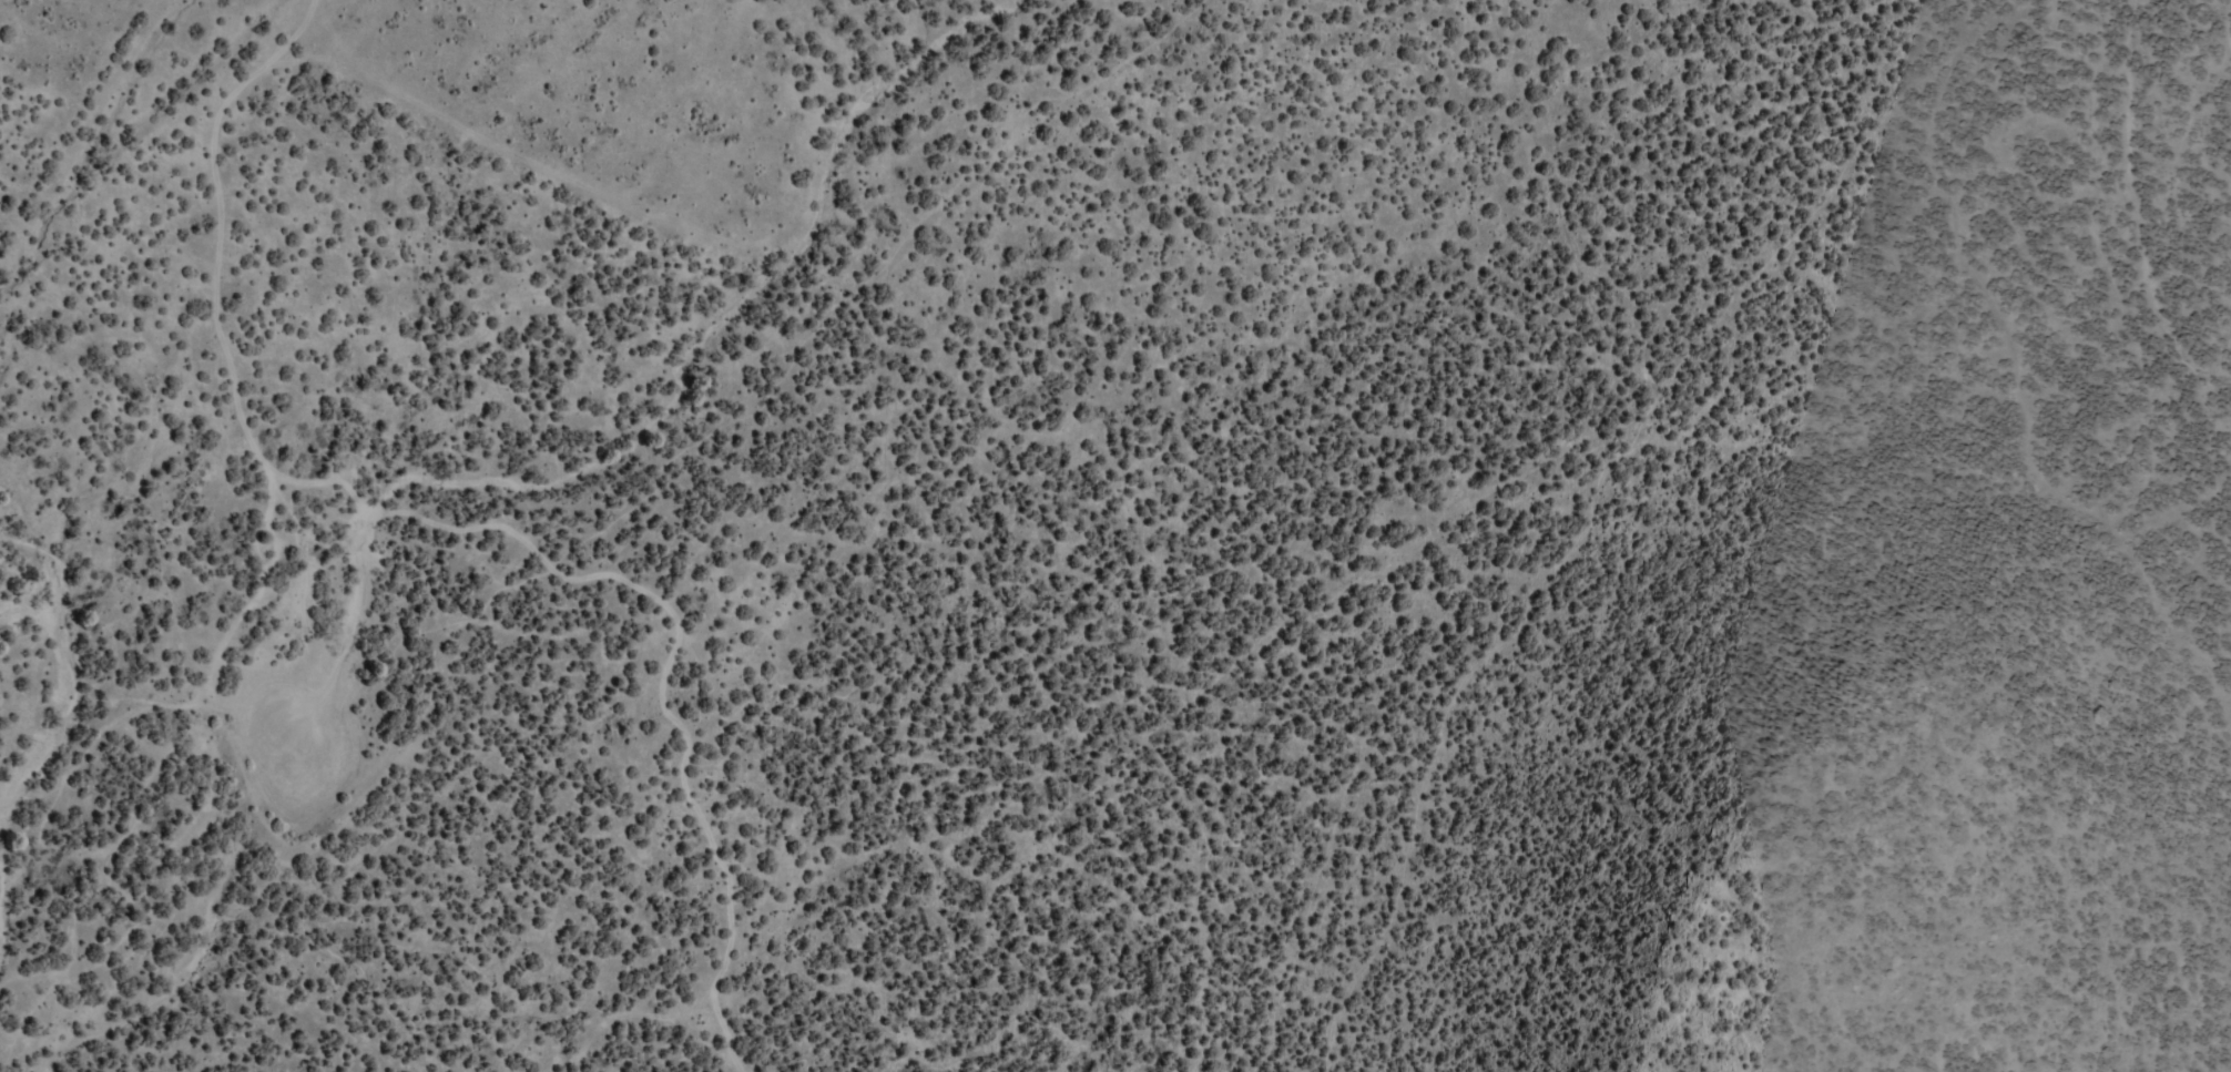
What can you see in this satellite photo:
road: (2196, 167)

